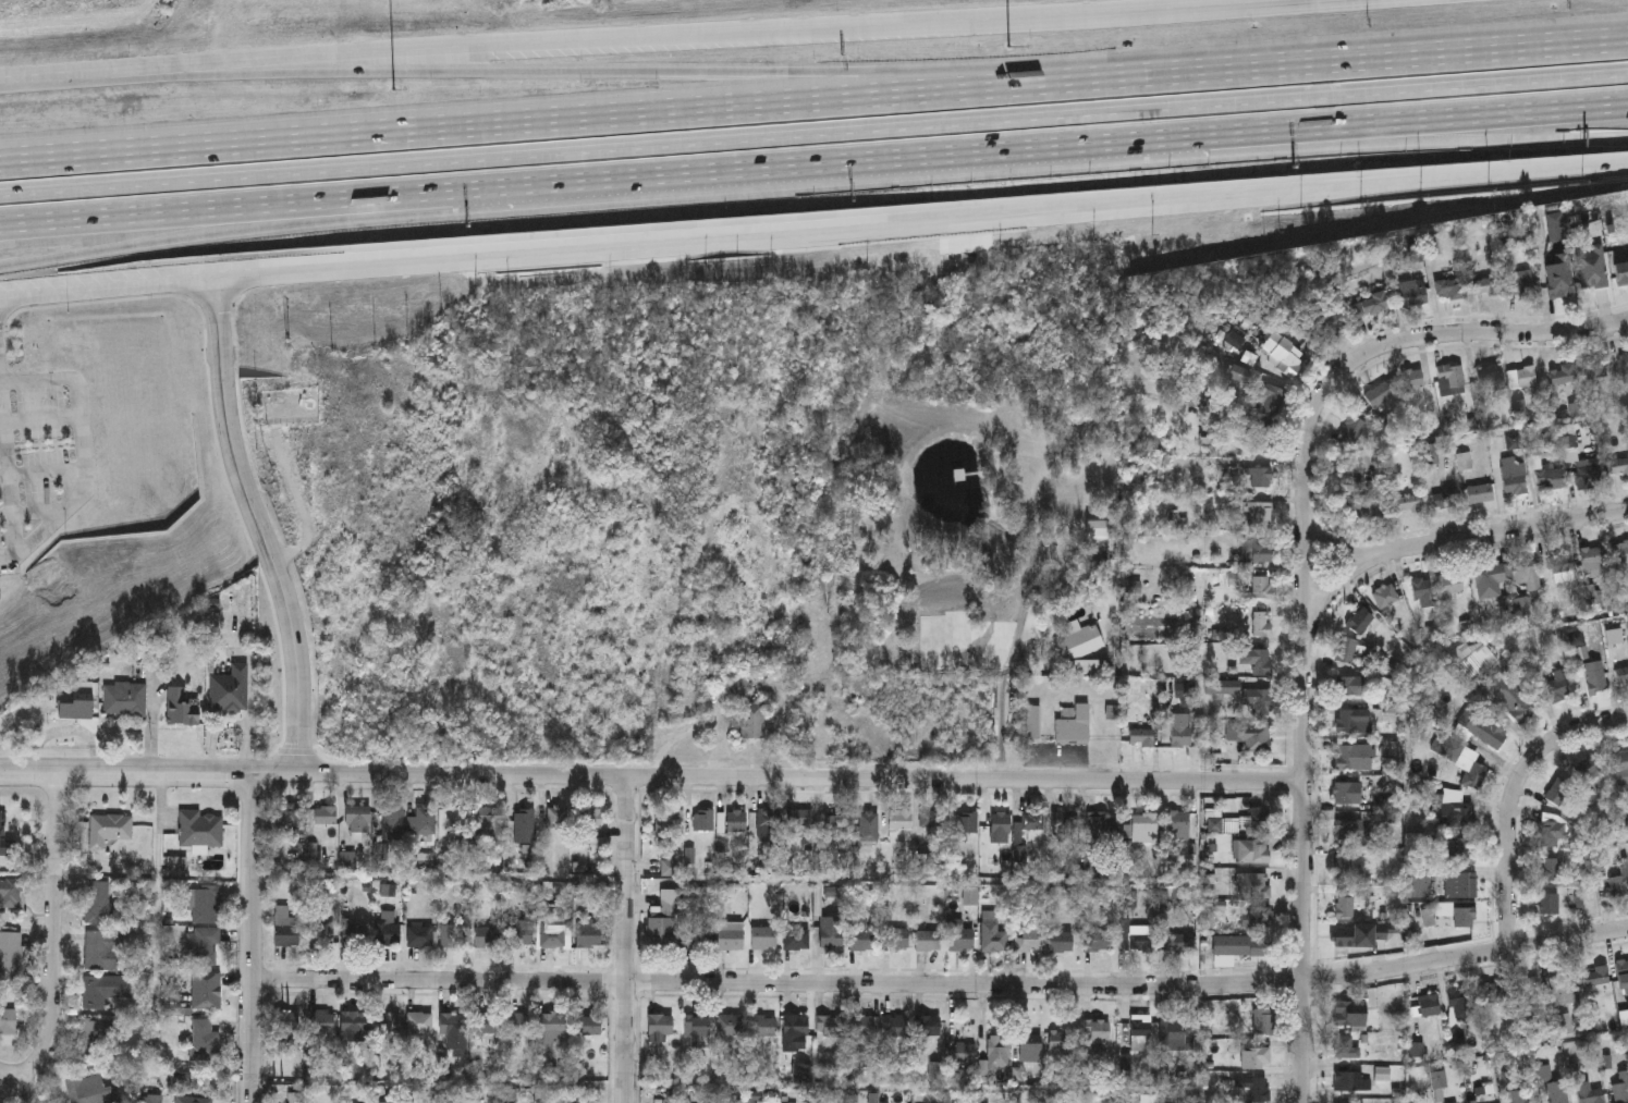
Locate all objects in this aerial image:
road: (740, 37)
road: (1298, 66)
road: (568, 69)
road: (85, 74)
road: (1416, 118)
building: (1125, 122)
road: (483, 126)
building: (1011, 126)
road: (813, 135)
road: (1354, 136)
road: (1565, 138)
building: (500, 163)
road: (778, 166)
building: (48, 208)
road: (175, 211)
road: (921, 226)
road: (176, 240)
building: (1592, 267)
building: (1521, 282)
building: (1560, 285)
building: (1486, 286)
building: (1450, 287)
road: (107, 291)
building: (1415, 296)
building: (1372, 304)
road: (13, 306)
building: (1331, 322)
road: (1484, 332)
building: (1284, 354)
building: (1625, 367)
building: (1595, 368)
building: (1238, 373)
building: (1563, 373)
building: (1450, 376)
building: (1526, 376)
building: (1491, 377)
building: (1412, 378)
building: (1379, 394)
building: (1272, 400)
road: (40, 422)
building: (1351, 430)
building: (1264, 439)
building: (1514, 441)
road: (82, 452)
building: (1430, 453)
parking lot: (41, 454)
building: (1618, 467)
road: (8, 469)
road: (40, 474)
building: (1588, 474)
building: (1515, 476)
building: (1260, 477)
building: (1550, 478)
building: (1480, 493)
building: (1446, 499)
building: (1410, 503)
building: (1363, 510)
road: (33, 513)
building: (1260, 514)
road: (257, 529)
building: (1101, 529)
road: (1457, 543)
building: (1261, 550)
building: (1624, 555)
building: (1594, 560)
road: (1307, 564)
building: (1562, 567)
building: (1525, 573)
building: (1490, 579)
building: (1448, 586)
building: (1261, 587)
road: (1334, 590)
building: (1422, 591)
building: (1385, 596)
building: (1360, 620)
building: (1261, 622)
building: (1078, 642)
building: (1350, 651)
building: (1256, 660)
building: (1474, 663)
building: (1623, 675)
building: (1595, 676)
building: (1349, 686)
building: (1554, 688)
building: (230, 689)
building: (734, 690)
building: (124, 698)
building: (1514, 698)
building: (1259, 701)
road: (1002, 703)
building: (74, 708)
building: (182, 708)
building: (752, 720)
building: (1355, 721)
building: (1031, 722)
building: (1074, 725)
building: (1482, 728)
building: (1180, 730)
building: (1250, 735)
building: (1141, 736)
building: (1354, 756)
building: (1461, 759)
building: (1620, 762)
building: (1590, 769)
road: (127, 774)
road: (781, 780)
building: (1558, 791)
building: (1348, 792)
road: (1514, 799)
building: (1452, 811)
building: (326, 816)
building: (556, 816)
building: (800, 816)
building: (285, 818)
building: (768, 818)
building: (931, 818)
building: (1256, 818)
building: (425, 819)
building: (702, 819)
building: (899, 819)
building: (457, 820)
building: (589, 820)
building: (736, 820)
building: (1032, 820)
building: (392, 821)
building: (1000, 821)
building: (357, 822)
building: (835, 822)
building: (967, 822)
building: (489, 823)
building: (664, 823)
building: (524, 824)
building: (1178, 824)
building: (1063, 825)
building: (867, 826)
building: (1141, 826)
building: (1102, 828)
building: (109, 829)
building: (200, 829)
building: (1550, 829)
building: (1348, 830)
building: (1252, 849)
building: (1465, 850)
building: (1344, 867)
building: (1550, 869)
building: (1253, 884)
building: (1460, 885)
building: (1619, 885)
building: (10, 895)
building: (98, 902)
building: (204, 904)
building: (670, 904)
building: (1550, 904)
building: (1344, 906)
building: (1256, 917)
building: (1464, 917)
building: (284, 927)
road: (53, 930)
building: (320, 931)
building: (830, 931)
building: (992, 931)
building: (660, 932)
building: (389, 933)
building: (521, 933)
building: (588, 933)
building: (860, 933)
building: (696, 934)
building: (354, 935)
building: (420, 935)
building: (453, 935)
building: (553, 935)
building: (731, 935)
building: (1029, 935)
building: (1352, 935)
building: (487, 936)
building: (763, 936)
building: (959, 936)
building: (795, 937)
building: (894, 937)
building: (1140, 937)
road: (255, 940)
building: (927, 940)
building: (1097, 940)
road: (628, 941)
building: (1060, 941)
building: (1180, 941)
road: (1306, 943)
building: (203, 945)
building: (1240, 945)
building: (102, 951)
building: (10, 955)
building: (1623, 976)
building: (1595, 978)
road: (943, 986)
building: (1564, 989)
building: (103, 990)
building: (206, 990)
building: (1490, 992)
building: (1531, 992)
building: (1461, 1003)
building: (1430, 1005)
building: (1344, 1014)
building: (8, 1021)
building: (321, 1021)
building: (419, 1021)
building: (452, 1022)
building: (486, 1022)
building: (1262, 1022)
building: (285, 1024)
building: (388, 1024)
building: (519, 1024)
building: (795, 1024)
building: (589, 1025)
building: (697, 1025)
building: (730, 1025)
building: (860, 1025)
building: (353, 1026)
building: (660, 1026)
building: (764, 1026)
building: (830, 1026)
building: (895, 1026)
building: (927, 1026)
building: (551, 1029)
building: (1176, 1031)
building: (1097, 1033)
building: (1139, 1033)
building: (95, 1038)
building: (1058, 1040)
building: (204, 1041)
building: (1030, 1042)
building: (1345, 1047)
building: (964, 1052)
building: (1256, 1057)
road: (26, 1078)
building: (1349, 1081)
building: (1621, 1086)
building: (1256, 1089)
building: (88, 1090)
building: (1557, 1092)
building: (1518, 1095)
building: (1592, 1096)
building: (145, 1099)
building: (194, 1100)

